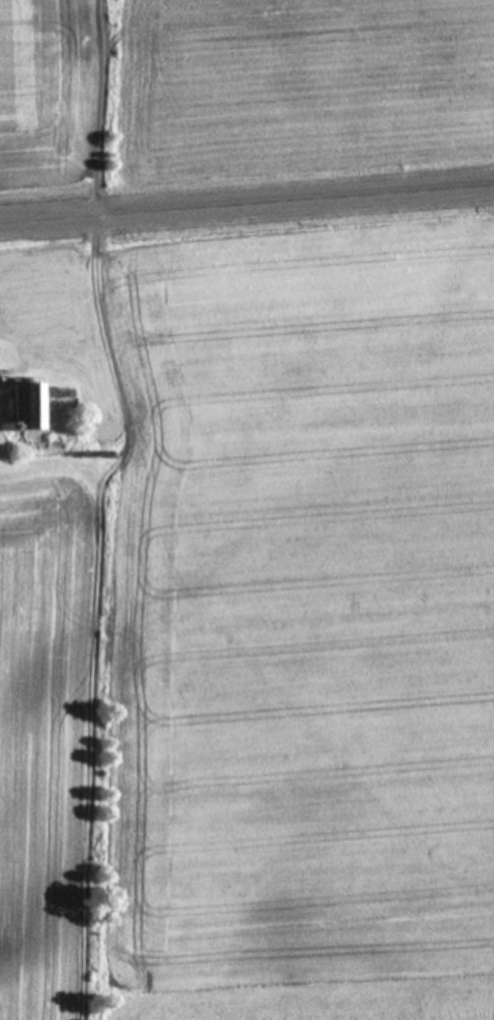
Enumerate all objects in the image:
crop: (298, 89)
crop: (56, 96)
road: (247, 203)
building: (24, 402)
building: (4, 423)
crop: (258, 637)

